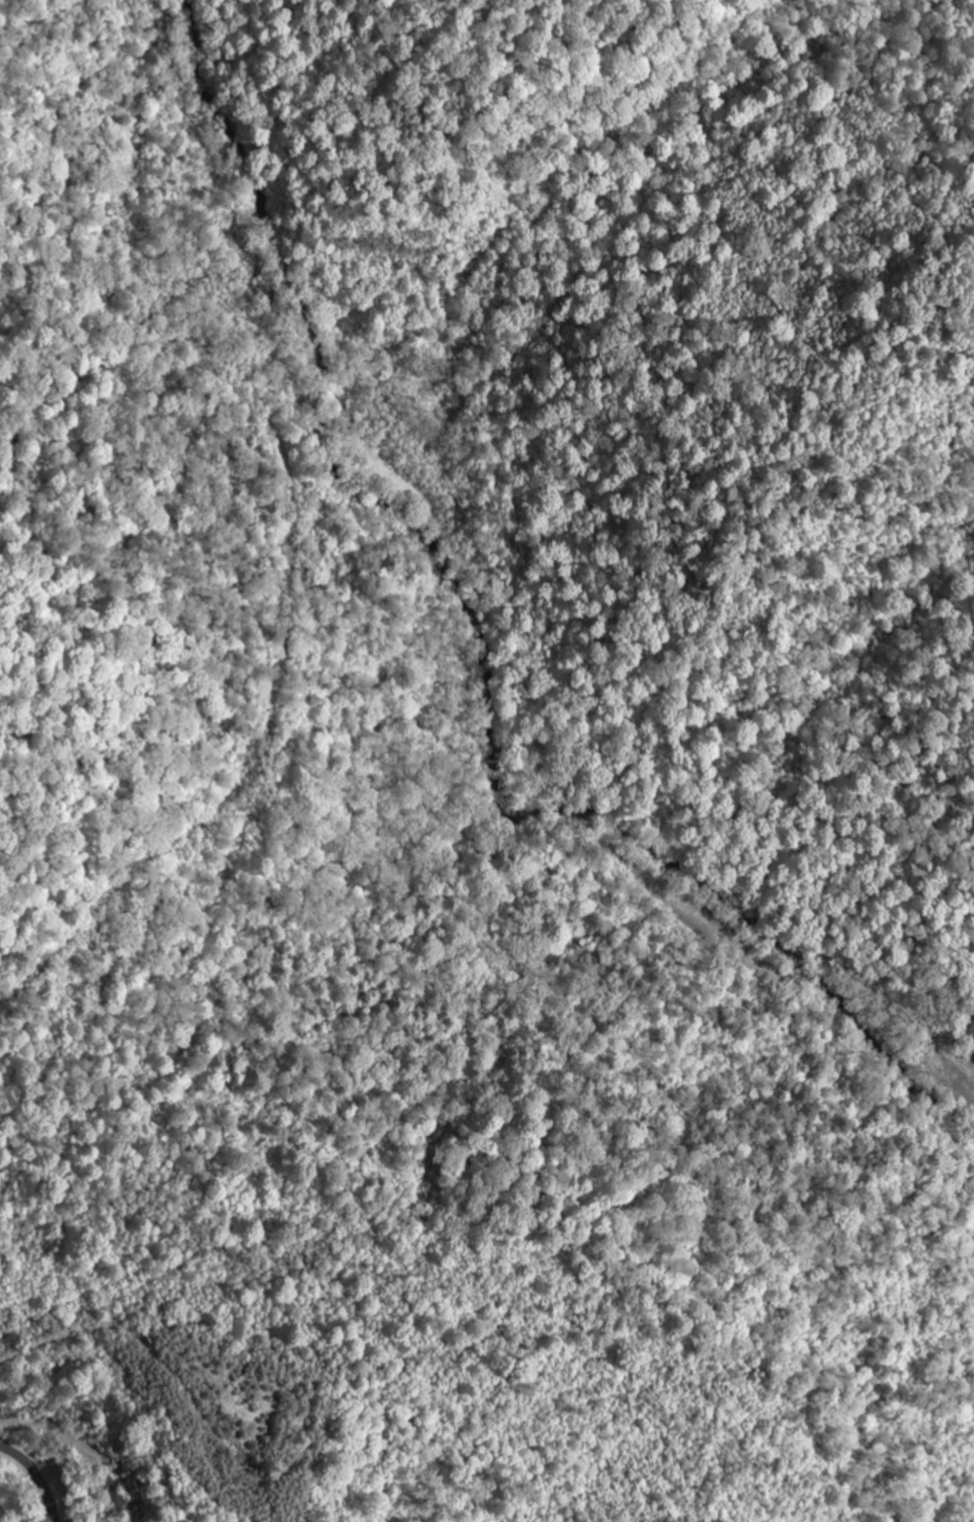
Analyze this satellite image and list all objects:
road: (37, 1476)

